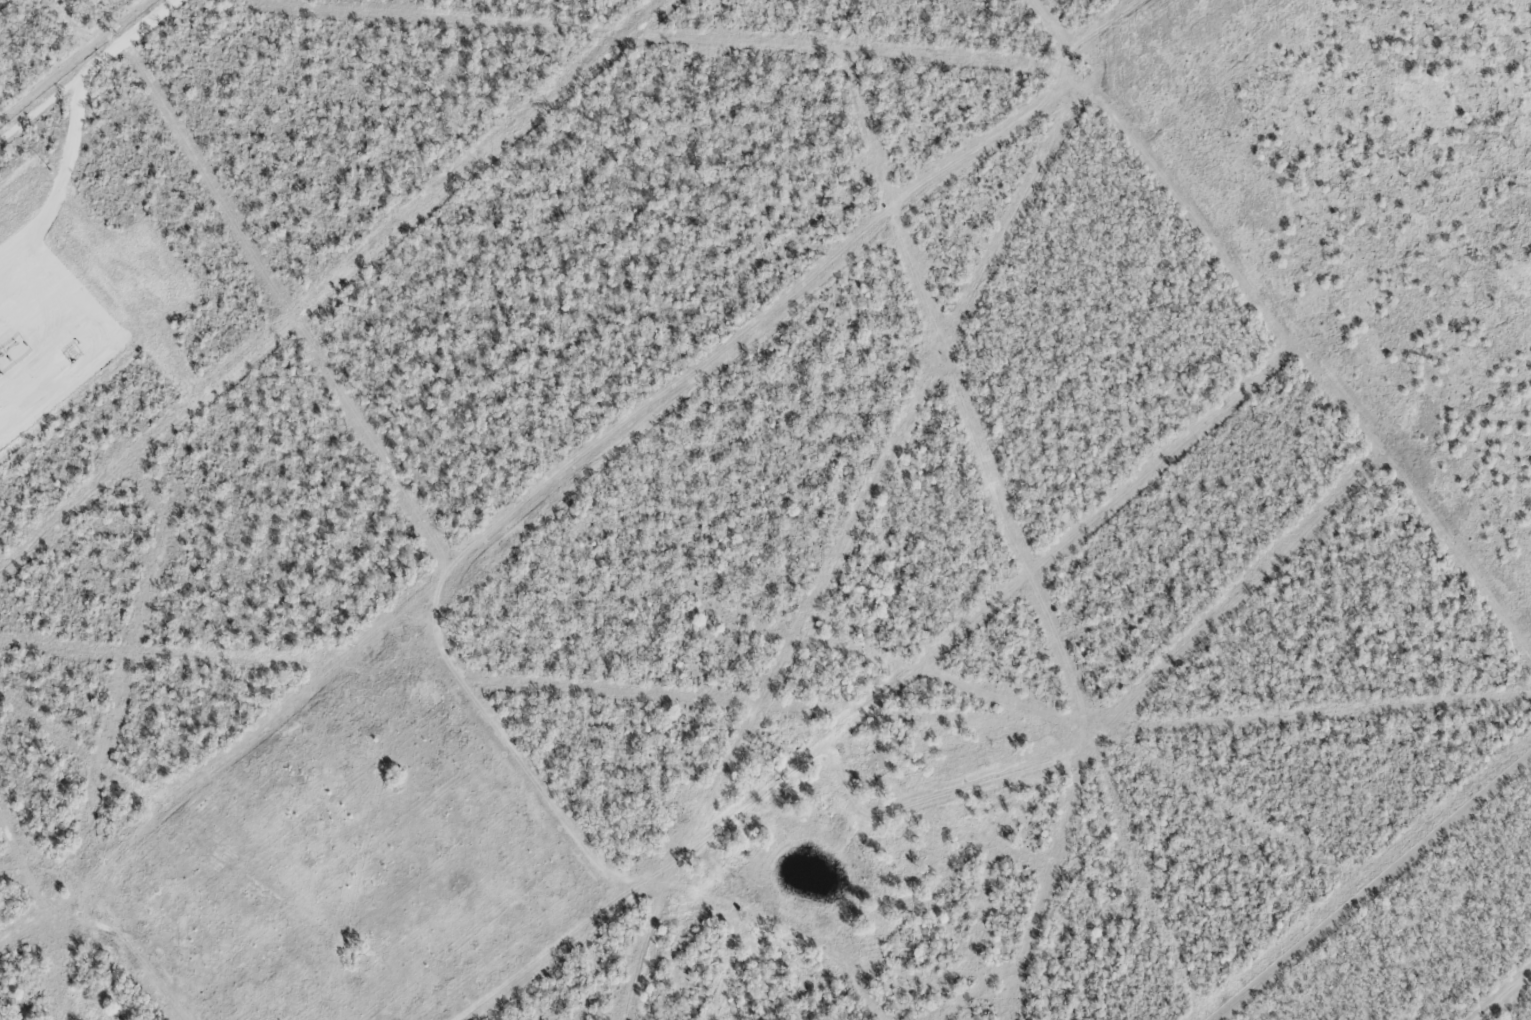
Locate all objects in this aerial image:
road: (87, 70)

